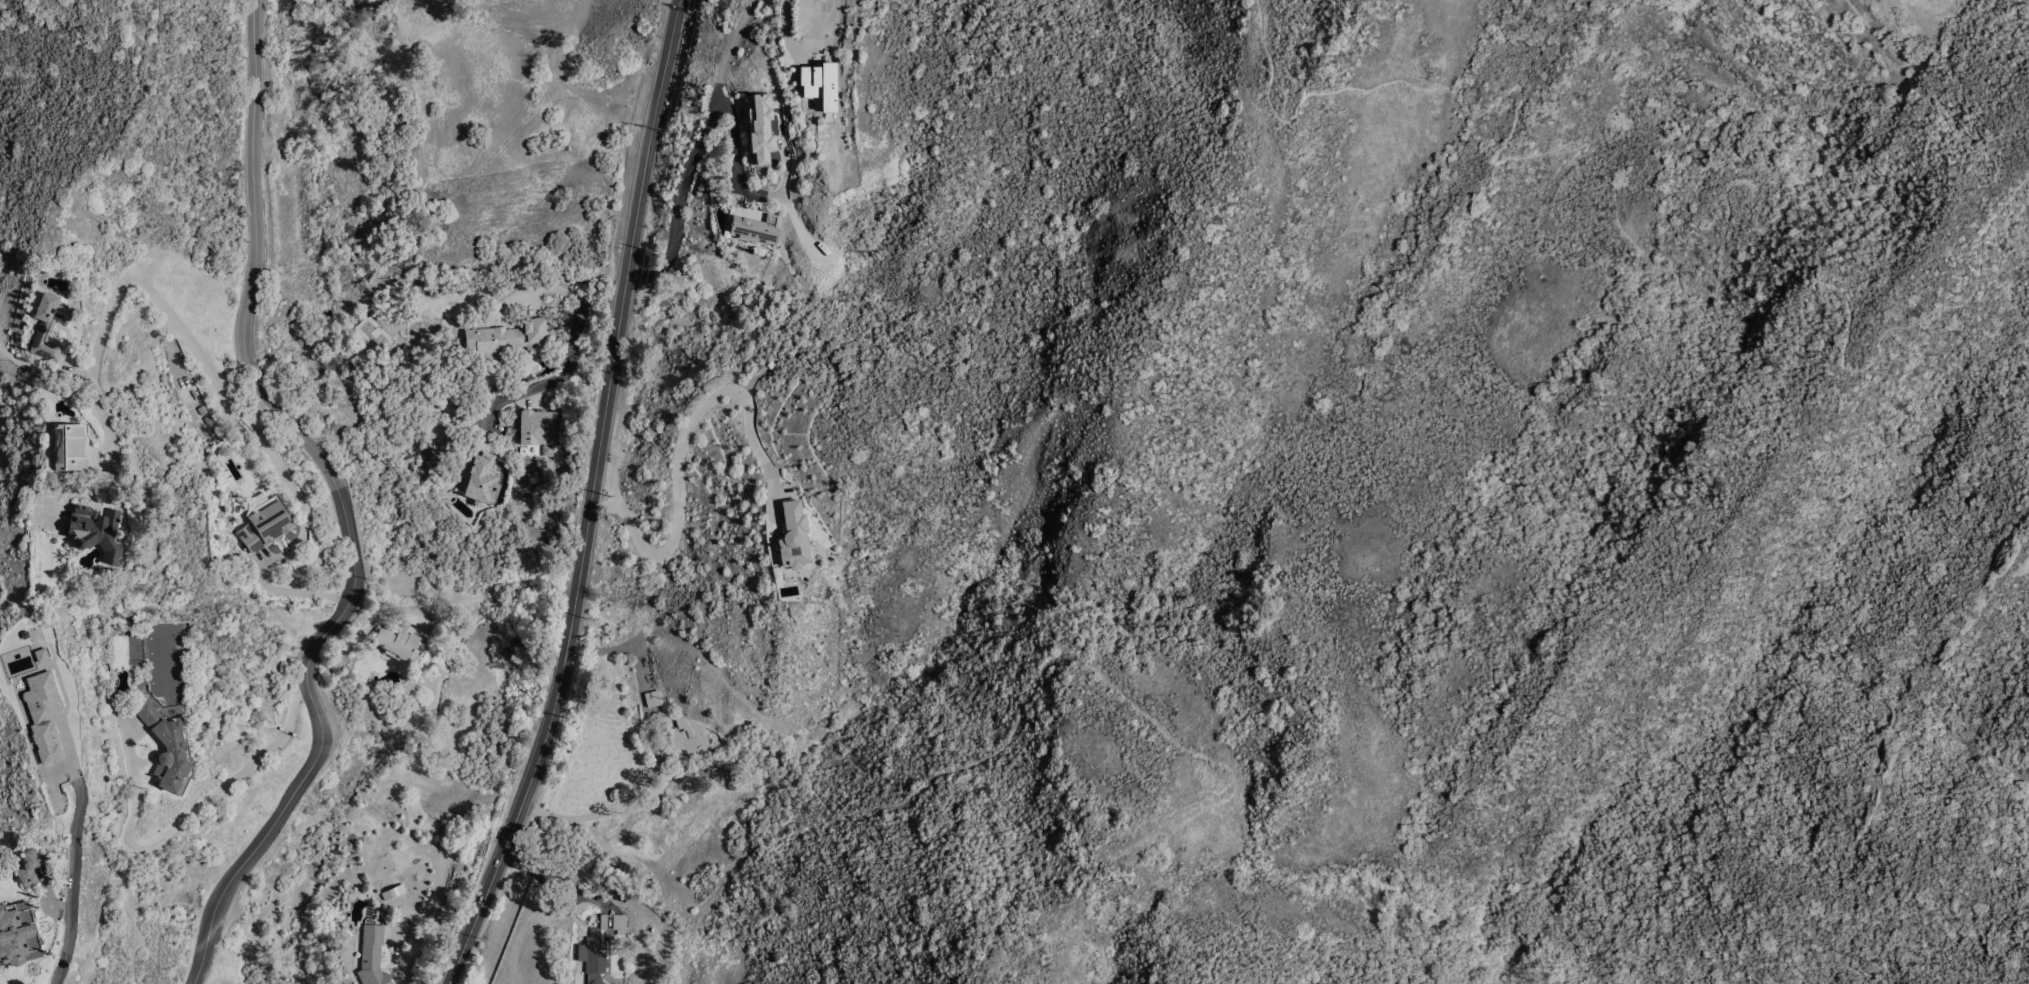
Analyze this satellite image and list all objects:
building: (819, 86)
building: (761, 129)
road: (696, 152)
road: (768, 198)
building: (756, 229)
road: (122, 283)
road: (624, 302)
road: (1710, 302)
building: (48, 326)
building: (508, 339)
road: (568, 368)
building: (537, 428)
building: (69, 448)
road: (679, 478)
building: (481, 480)
road: (343, 500)
building: (265, 525)
building: (96, 532)
building: (793, 536)
road: (290, 547)
road: (376, 620)
building: (401, 644)
building: (40, 655)
building: (653, 699)
building: (42, 716)
building: (687, 735)
building: (170, 752)
road: (654, 753)
road: (525, 798)
road: (183, 818)
building: (28, 869)
road: (556, 880)
building: (393, 892)
road: (72, 895)
building: (618, 924)
building: (18, 935)
building: (594, 953)
building: (372, 956)
road: (1258, 981)

